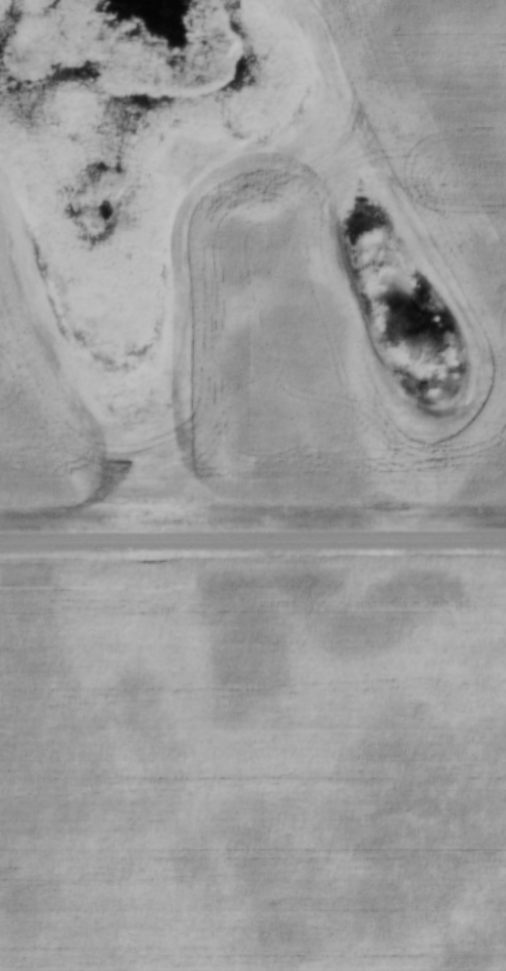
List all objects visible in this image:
road: (253, 544)

